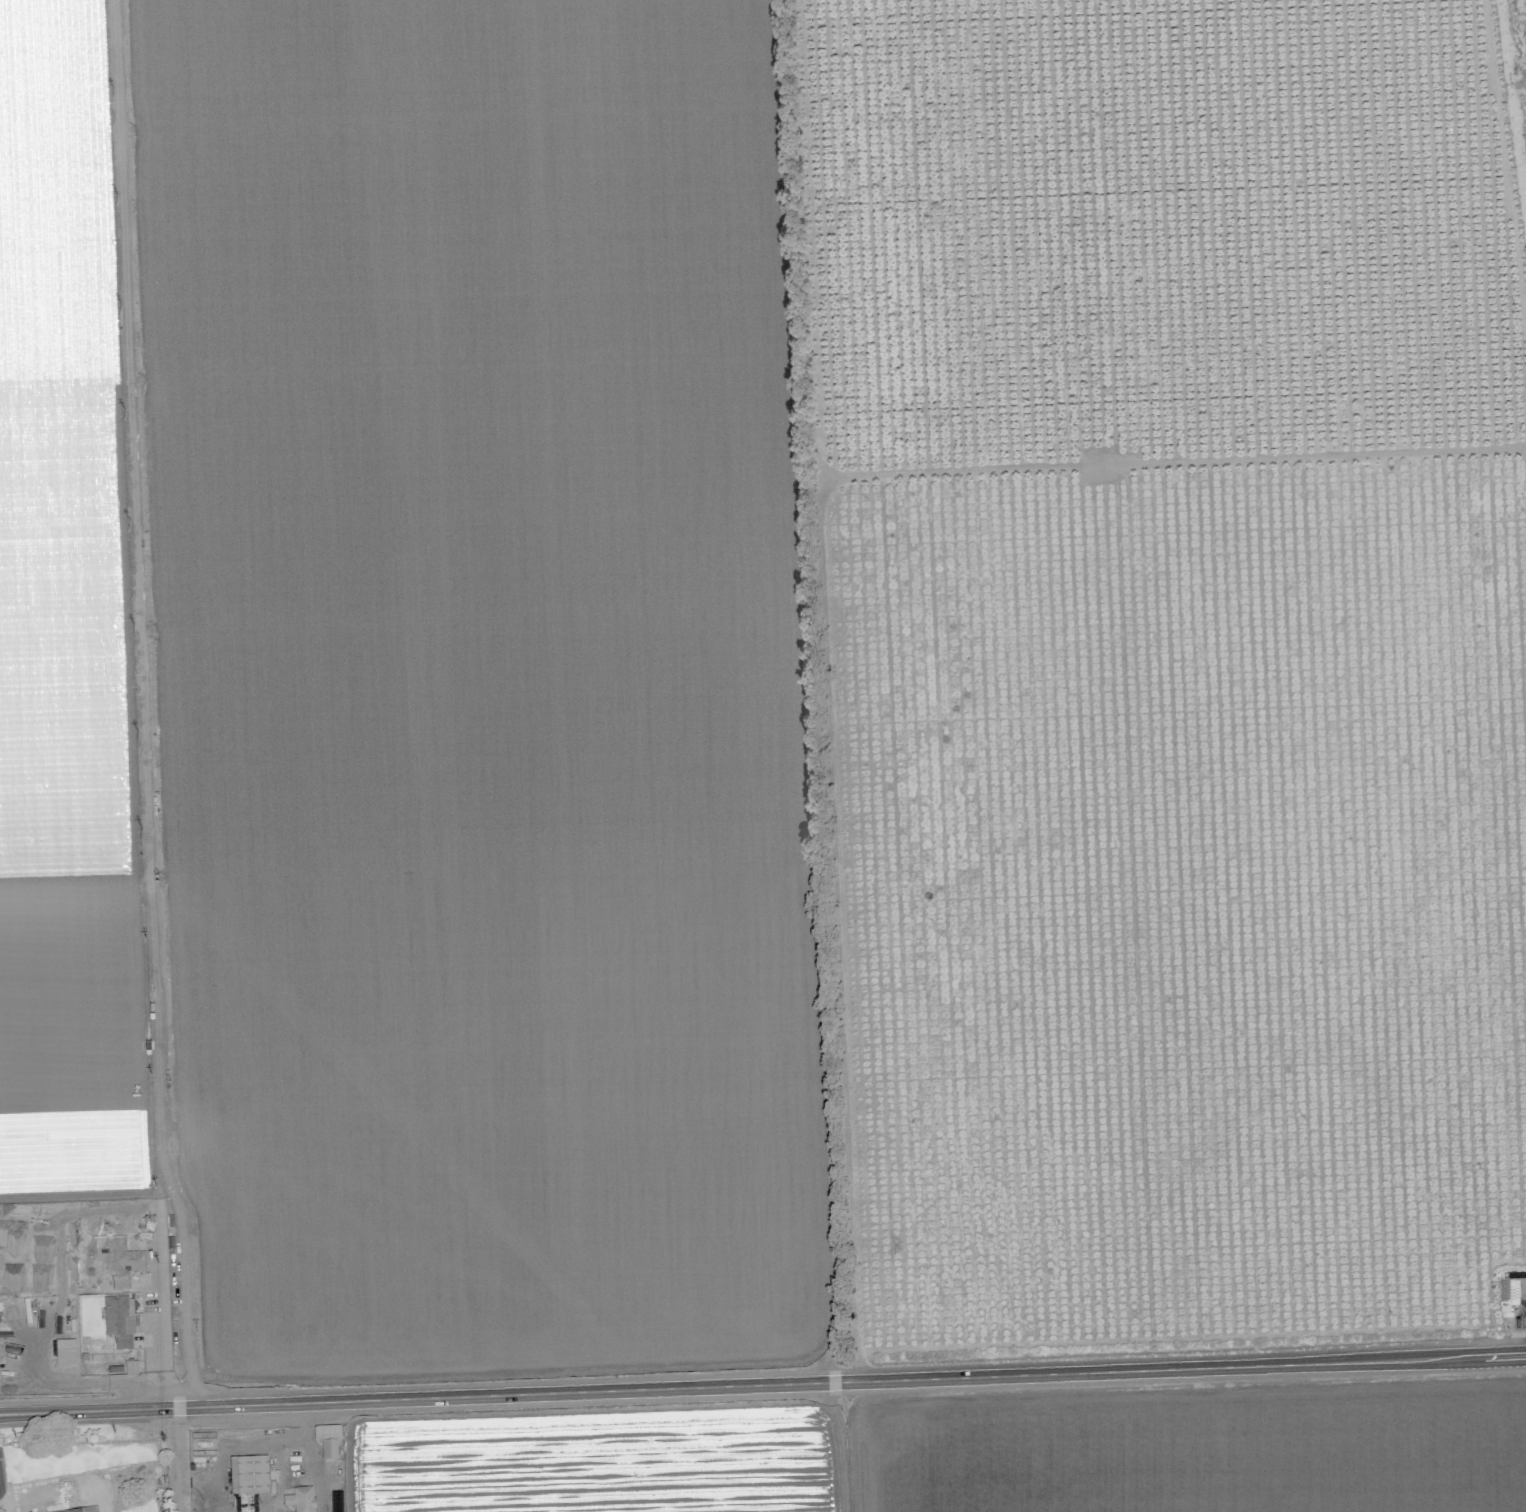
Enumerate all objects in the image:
crop: (774, 742)
road: (85, 1199)
building: (107, 1252)
road: (164, 1307)
road: (1522, 1313)
road: (1519, 1335)
building: (65, 1349)
road: (762, 1379)
road: (84, 1388)
road: (841, 1444)
road: (174, 1457)
park: (81, 1462)
building: (248, 1471)
parking lot: (4, 1478)
road: (1, 1485)
road: (1, 1493)
building: (80, 1509)

